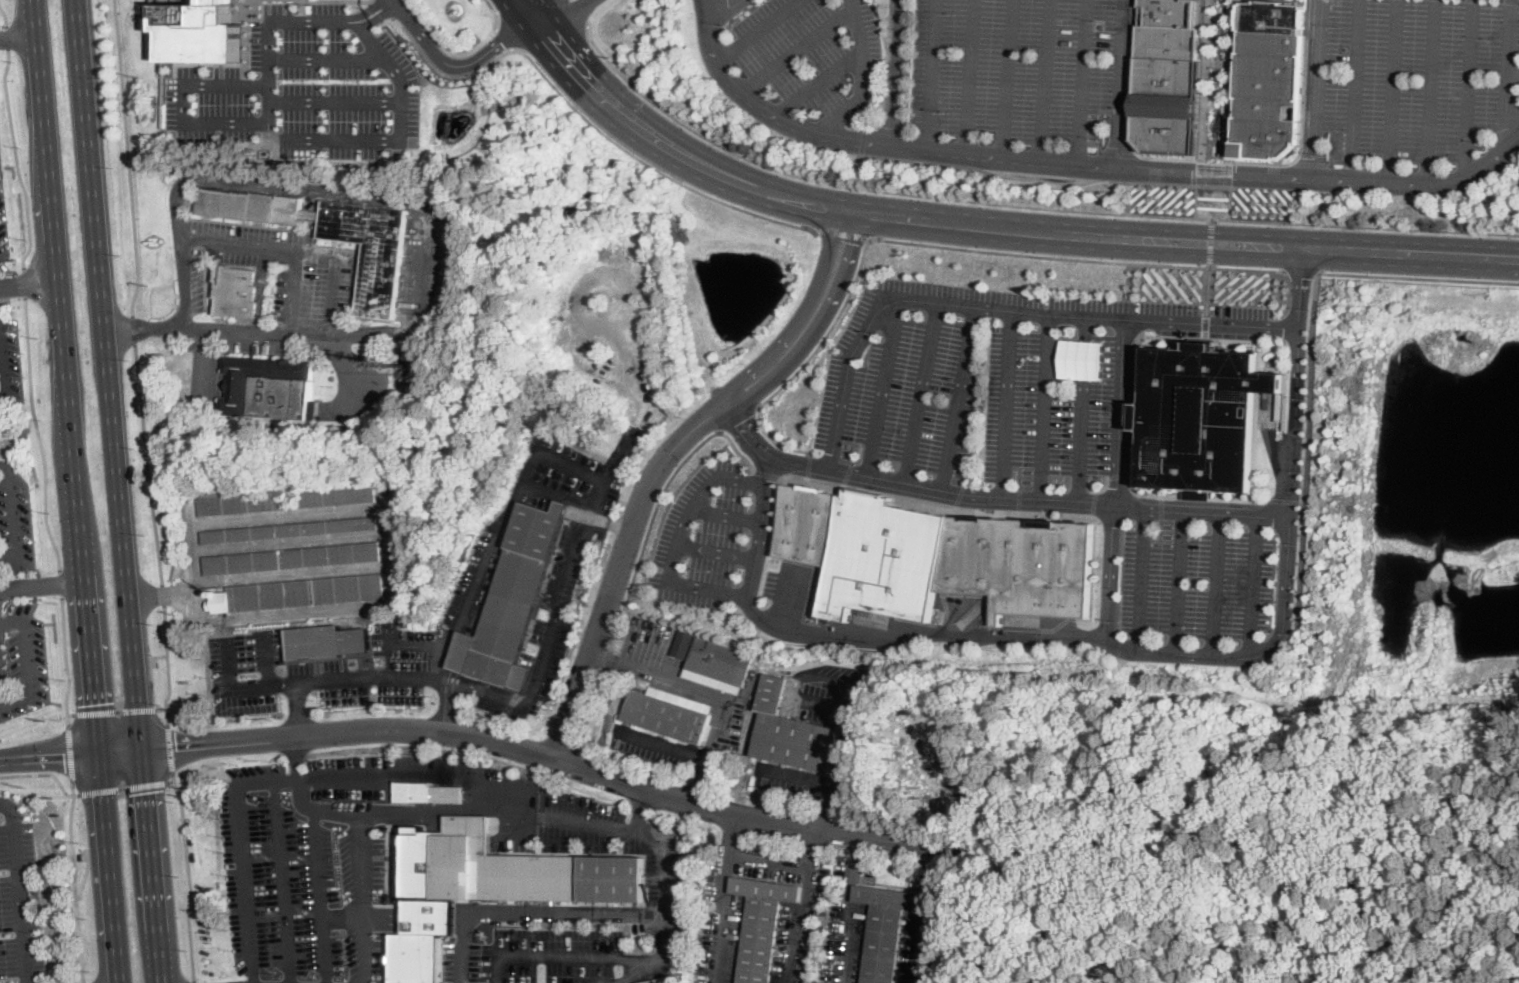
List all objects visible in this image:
road: (335, 0)
road: (724, 6)
road: (375, 8)
road: (570, 9)
road: (153, 11)
road: (495, 13)
road: (5, 14)
road: (513, 14)
road: (533, 14)
road: (576, 14)
road: (558, 17)
road: (318, 19)
road: (541, 24)
road: (879, 25)
road: (758, 30)
building: (1169, 30)
road: (540, 34)
road: (19, 35)
building: (207, 35)
road: (504, 36)
road: (8, 37)
road: (795, 48)
parking lot: (787, 50)
road: (308, 58)
parking lot: (869, 62)
road: (449, 63)
parking lot: (1013, 68)
road: (1509, 68)
road: (885, 69)
road: (271, 70)
road: (896, 73)
road: (930, 74)
road: (968, 76)
road: (861, 77)
parking lot: (1416, 77)
road: (1007, 78)
road: (1514, 79)
road: (1044, 80)
building: (1268, 81)
road: (1083, 82)
road: (815, 83)
road: (1118, 84)
parking lot: (304, 89)
road: (1469, 89)
road: (1315, 90)
road: (1354, 91)
road: (1393, 92)
road: (1428, 93)
road: (334, 99)
building: (1166, 105)
road: (764, 111)
road: (583, 114)
road: (267, 138)
road: (861, 140)
road: (978, 154)
road: (1161, 155)
road: (127, 156)
road: (16, 160)
road: (1265, 161)
road: (1089, 165)
road: (1199, 170)
road: (1226, 172)
road: (1326, 181)
road: (1059, 182)
road: (297, 185)
road: (1195, 200)
road: (822, 204)
road: (1026, 204)
road: (1211, 230)
road: (844, 232)
building: (332, 236)
road: (898, 239)
road: (1209, 240)
road: (237, 241)
road: (1401, 250)
road: (1210, 253)
road: (1248, 267)
road: (1303, 270)
road: (338, 273)
road: (1418, 276)
road: (24, 283)
road: (29, 284)
building: (236, 291)
road: (917, 300)
road: (1125, 325)
road: (132, 326)
road: (305, 332)
building: (410, 357)
road: (3, 363)
road: (202, 365)
road: (107, 375)
building: (270, 388)
road: (884, 389)
parking lot: (997, 390)
road: (922, 394)
road: (961, 400)
road: (1007, 403)
road: (1045, 407)
road: (1083, 409)
building: (1202, 419)
road: (738, 421)
road: (39, 434)
road: (1309, 449)
road: (665, 458)
road: (148, 462)
parking lot: (574, 473)
road: (907, 486)
road: (76, 491)
building: (282, 500)
road: (658, 504)
road: (725, 513)
road: (16, 519)
parking lot: (14, 521)
building: (803, 524)
building: (291, 530)
building: (402, 536)
parking lot: (712, 536)
road: (713, 550)
building: (881, 558)
building: (292, 559)
road: (387, 563)
building: (1019, 564)
parking lot: (478, 574)
road: (665, 578)
parking lot: (1197, 578)
road: (1140, 579)
road: (1177, 582)
road: (62, 583)
road: (41, 585)
road: (1214, 585)
road: (1253, 585)
road: (163, 593)
building: (295, 593)
building: (512, 601)
parking lot: (545, 630)
road: (918, 634)
road: (434, 639)
building: (326, 641)
road: (1235, 654)
road: (607, 656)
building: (682, 656)
road: (28, 658)
road: (267, 658)
parking lot: (409, 658)
parking lot: (21, 660)
road: (67, 661)
building: (719, 661)
road: (168, 666)
parking lot: (276, 673)
building: (712, 681)
road: (795, 681)
building: (642, 684)
road: (1, 687)
building: (856, 689)
road: (714, 692)
parking lot: (822, 692)
road: (507, 696)
building: (681, 700)
traffic signals: (93, 703)
road: (450, 705)
road: (162, 708)
road: (112, 711)
road: (295, 711)
road: (590, 711)
building: (667, 717)
building: (791, 733)
parking lot: (652, 745)
road: (662, 745)
road: (170, 748)
road: (120, 751)
traffic signals: (176, 751)
road: (72, 752)
road: (48, 753)
traffic signals: (64, 753)
road: (544, 756)
road: (841, 767)
road: (413, 772)
road: (44, 775)
road: (798, 777)
parking lot: (788, 779)
road: (172, 781)
road: (123, 787)
traffic signals: (147, 792)
building: (428, 793)
road: (503, 810)
road: (362, 834)
road: (732, 834)
road: (812, 846)
road: (661, 849)
road: (240, 850)
road: (766, 859)
parking lot: (304, 864)
road: (154, 866)
building: (509, 868)
road: (85, 874)
road: (189, 875)
road: (281, 880)
road: (75, 882)
road: (22, 887)
parking lot: (18, 894)
road: (321, 894)
road: (848, 905)
road: (527, 911)
road: (924, 913)
building: (429, 916)
road: (342, 919)
building: (762, 925)
building: (885, 929)
road: (557, 954)
parking lot: (537, 956)
building: (415, 957)
road: (651, 958)
road: (75, 979)
building: (661, 980)
road: (194, 982)

